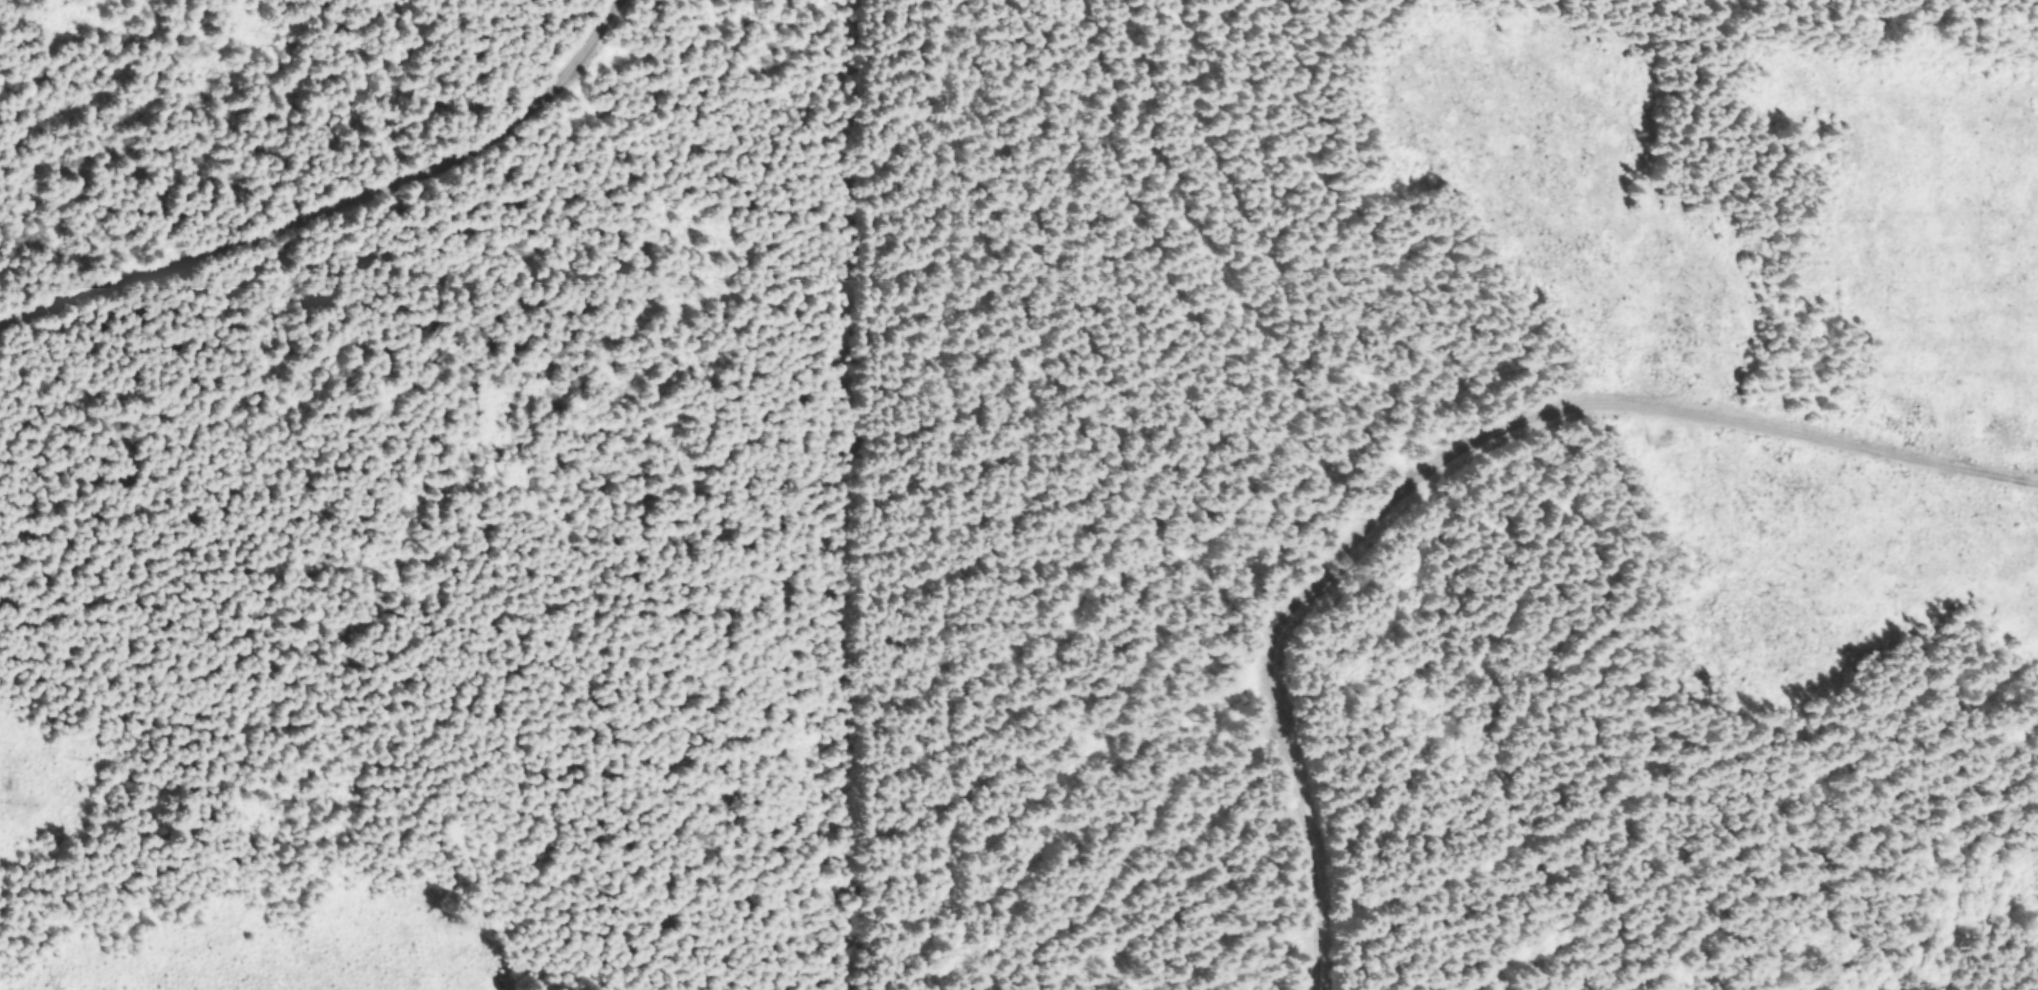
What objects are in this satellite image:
road: (337, 206)
road: (1444, 456)

